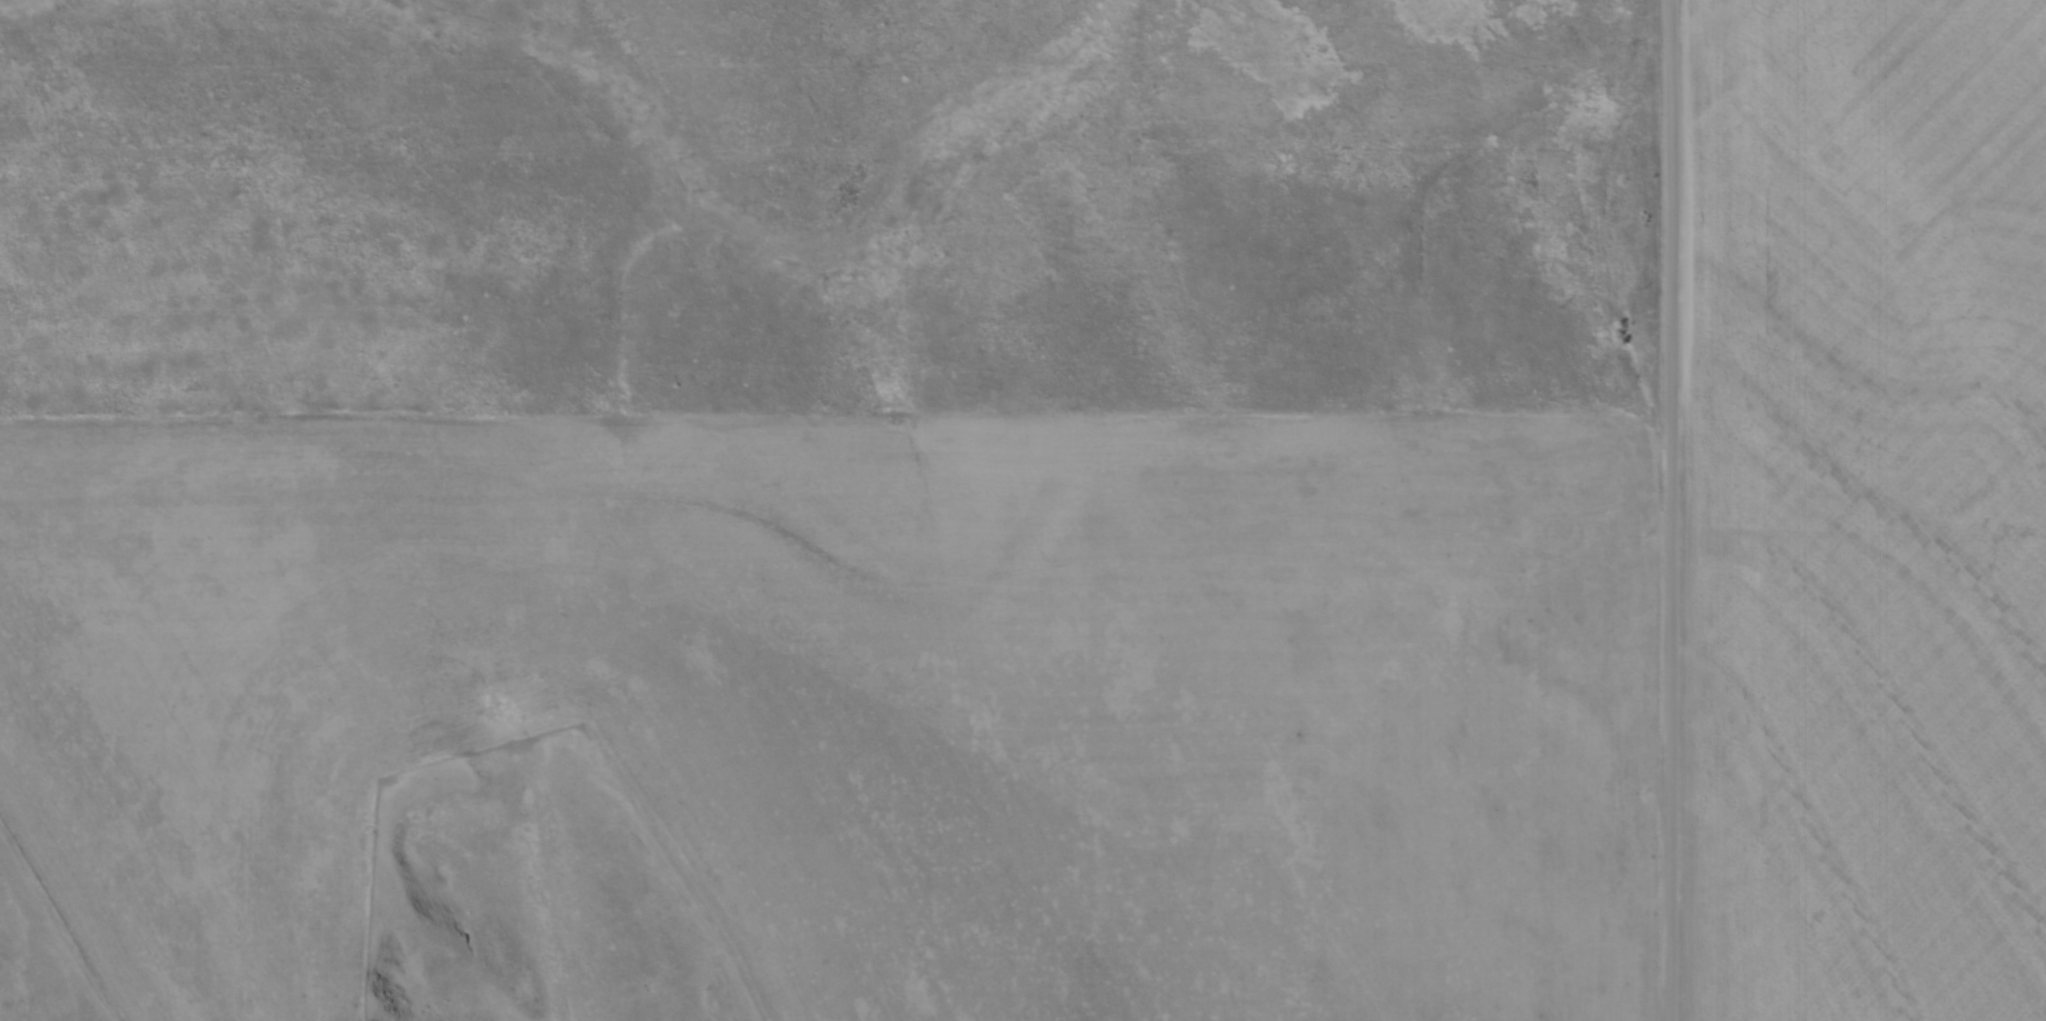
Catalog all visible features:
road: (1673, 510)

